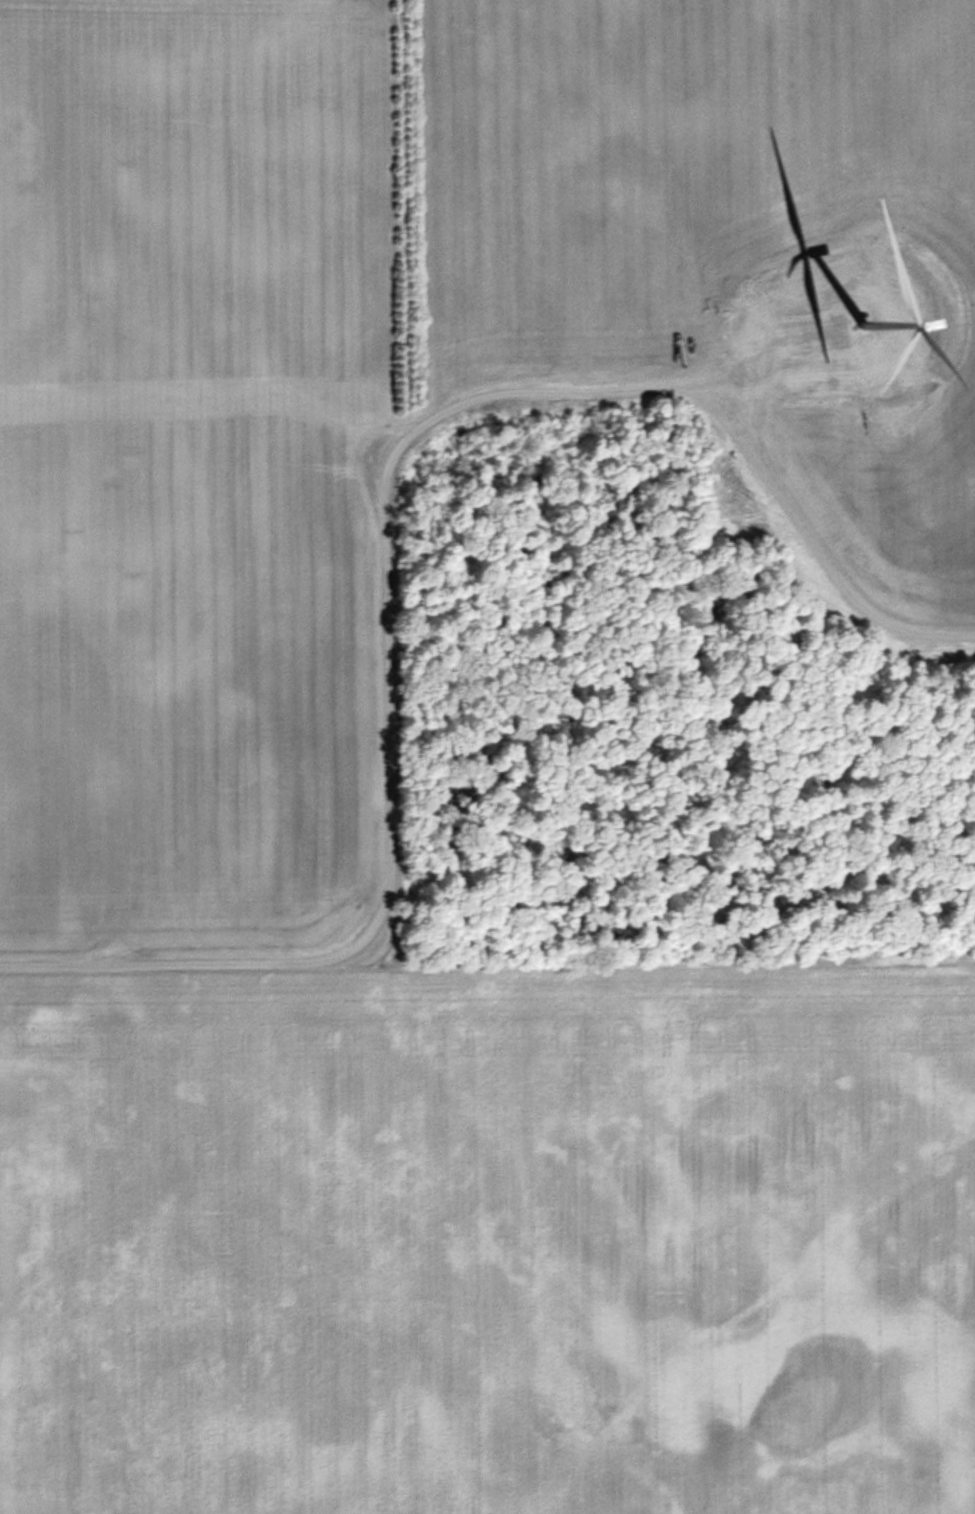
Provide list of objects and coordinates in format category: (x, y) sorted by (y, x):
wind turbine: (868, 328)

